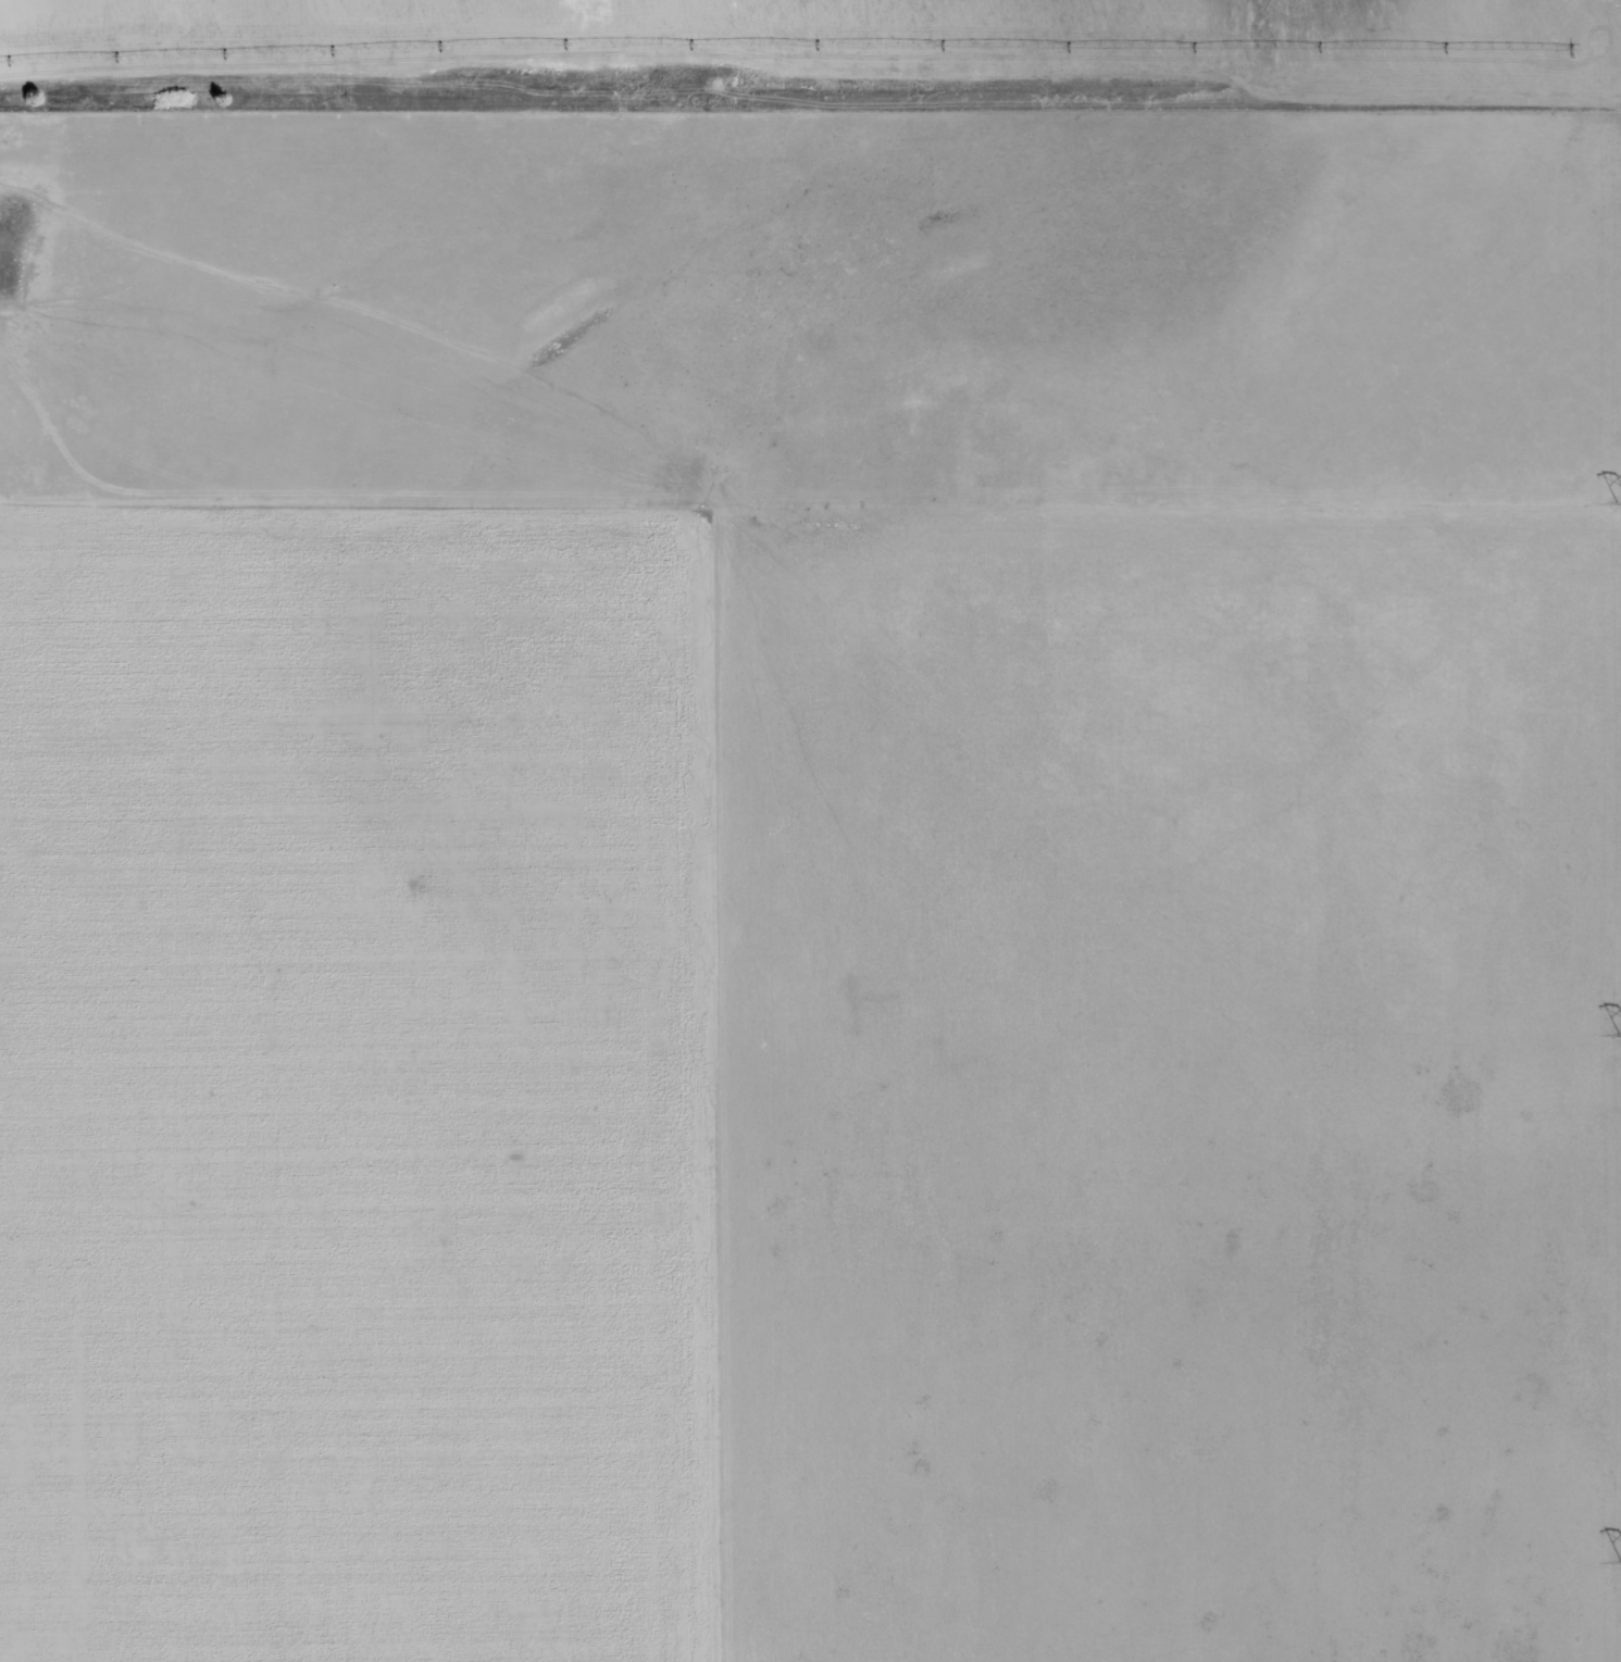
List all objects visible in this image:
power tower: (1620, 503)

